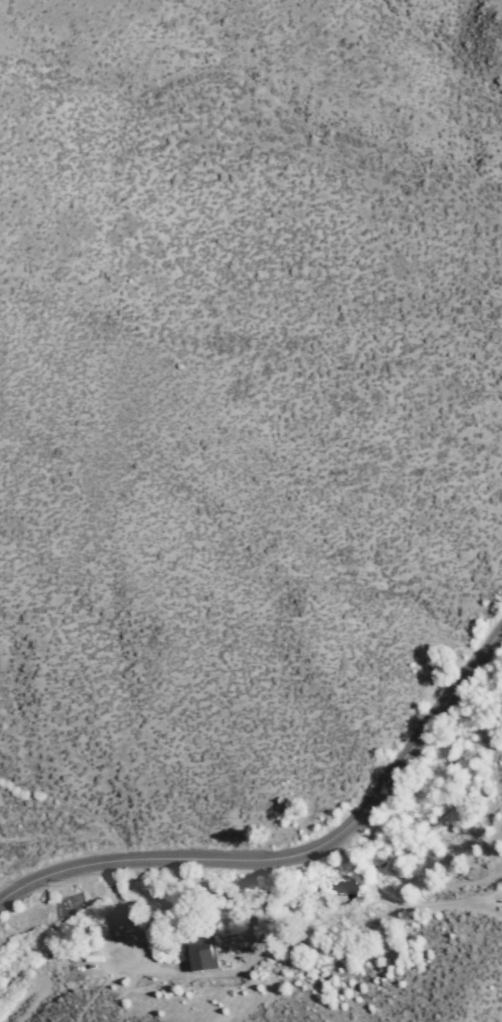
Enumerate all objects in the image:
road: (499, 786)
road: (295, 845)
road: (121, 918)
building: (205, 959)

